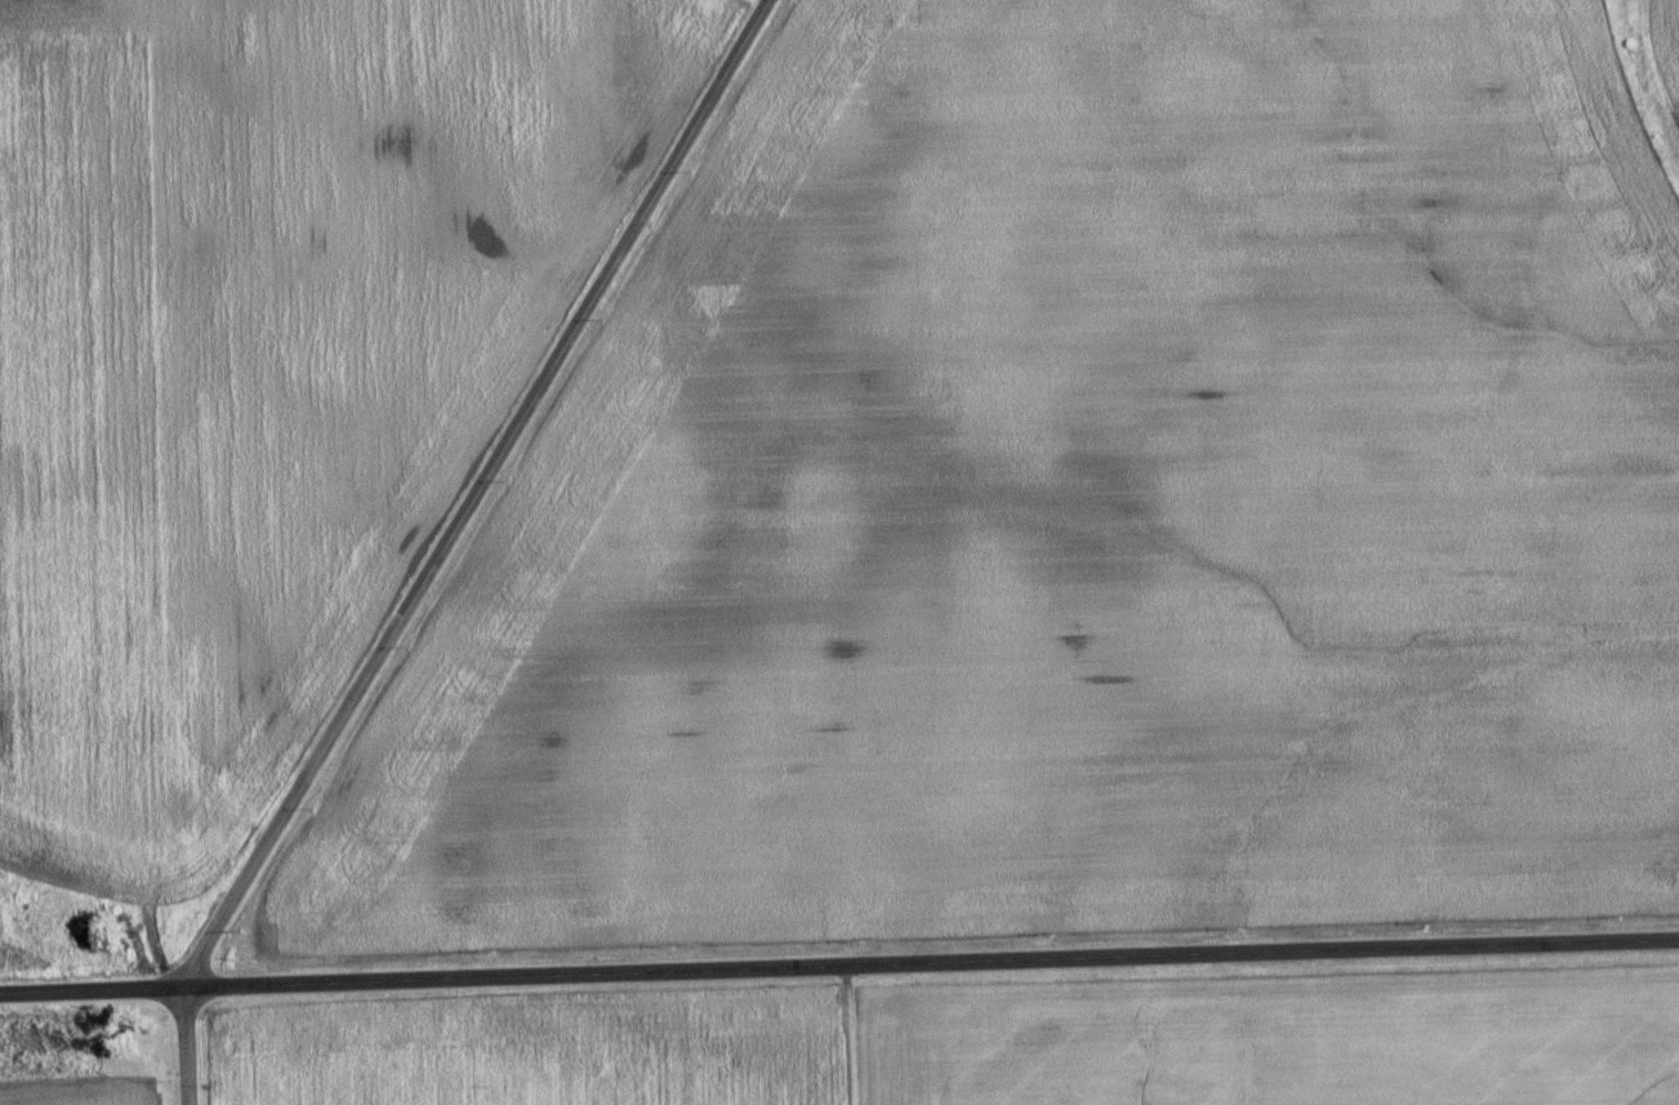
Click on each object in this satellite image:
road: (435, 543)
road: (838, 968)

